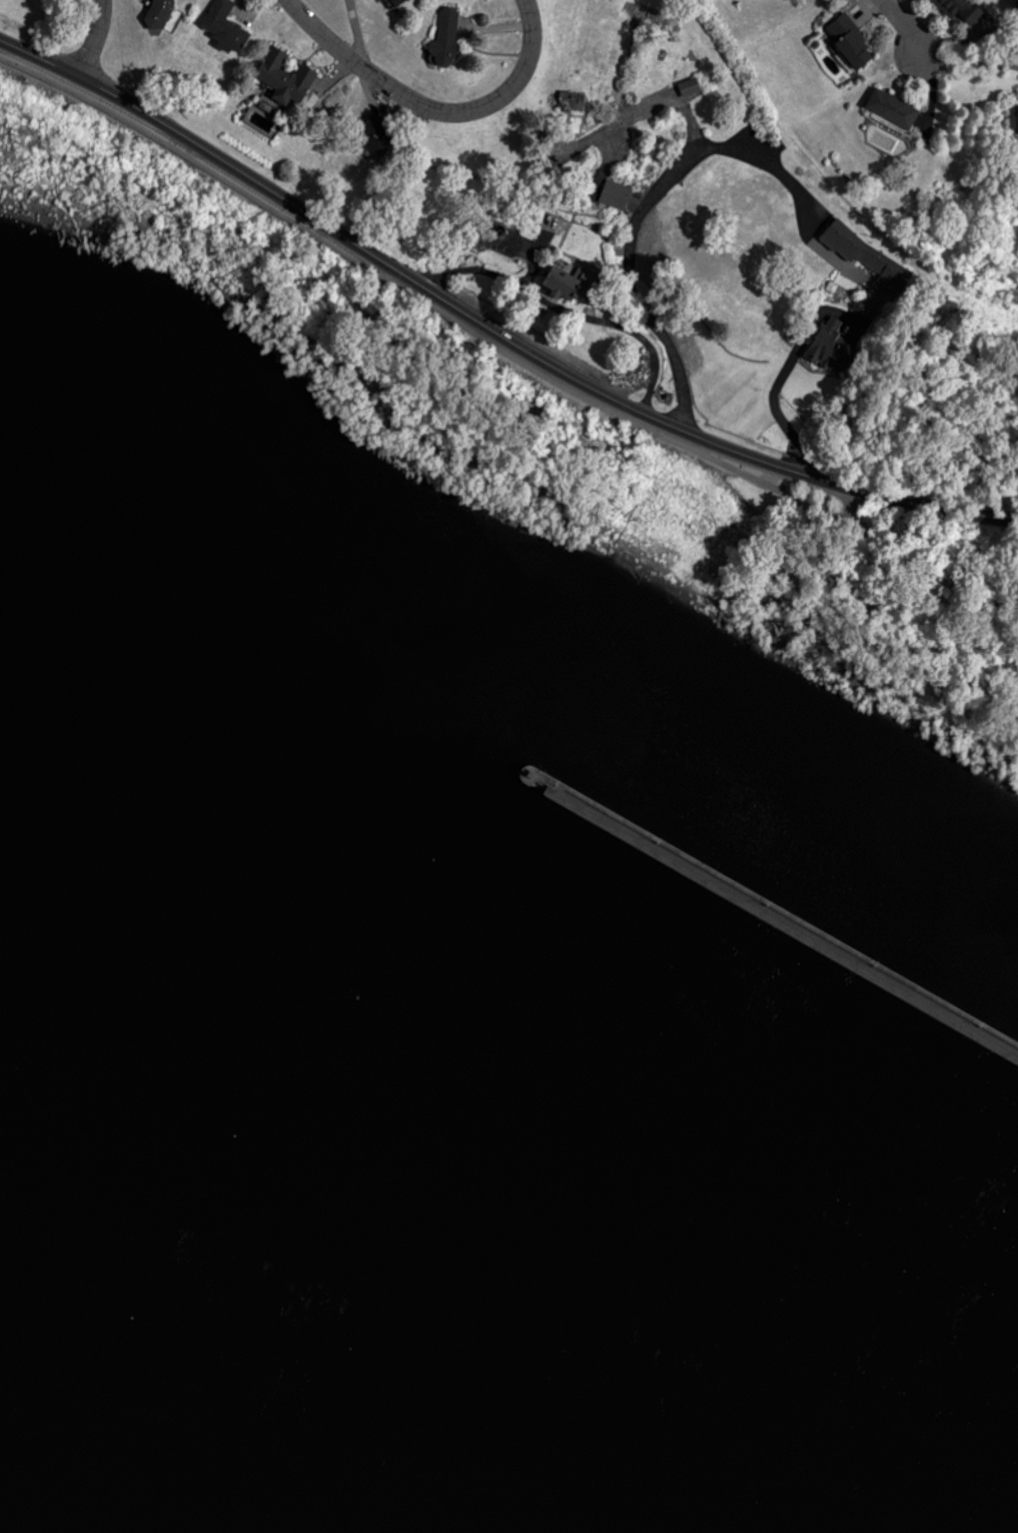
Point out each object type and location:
building: (382, 0)
building: (394, 2)
building: (968, 16)
road: (903, 25)
building: (225, 27)
road: (96, 38)
building: (443, 39)
building: (850, 42)
road: (971, 62)
building: (283, 77)
building: (689, 88)
building: (573, 102)
building: (892, 109)
road: (430, 111)
building: (1012, 119)
building: (372, 136)
road: (780, 175)
building: (615, 194)
building: (864, 253)
building: (567, 282)
road: (420, 304)
road: (567, 313)
road: (487, 328)
building: (827, 347)
road: (841, 506)
road: (935, 562)
river: (421, 627)
river: (923, 887)
river: (923, 921)
river: (431, 1328)

